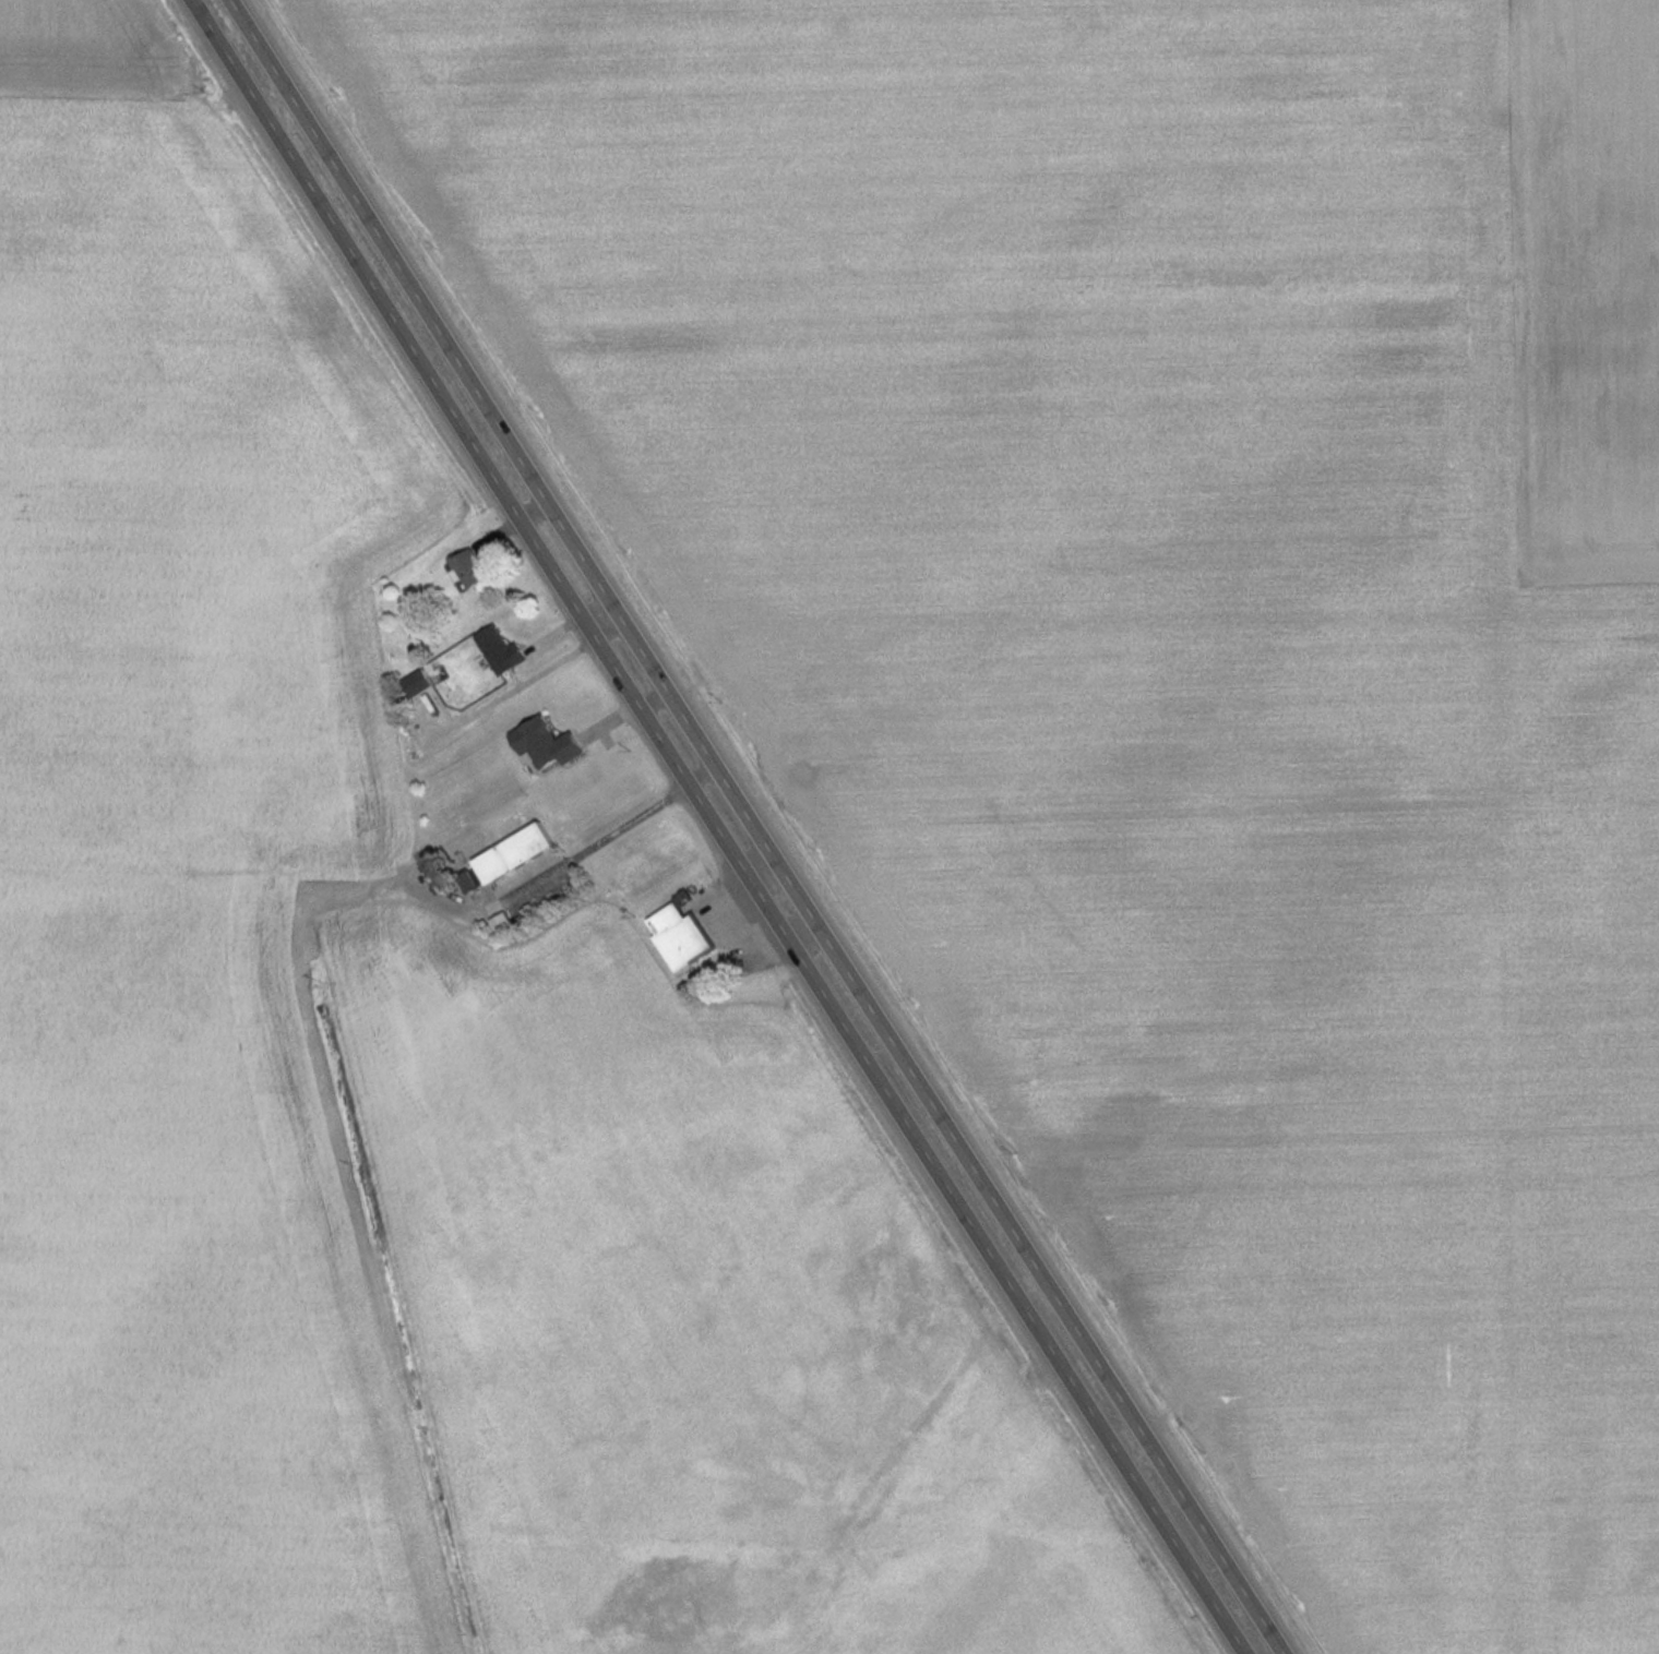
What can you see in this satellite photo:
building: (468, 568)
building: (500, 650)
building: (416, 682)
building: (545, 743)
road: (718, 827)
road: (765, 827)
building: (505, 856)
building: (679, 934)

